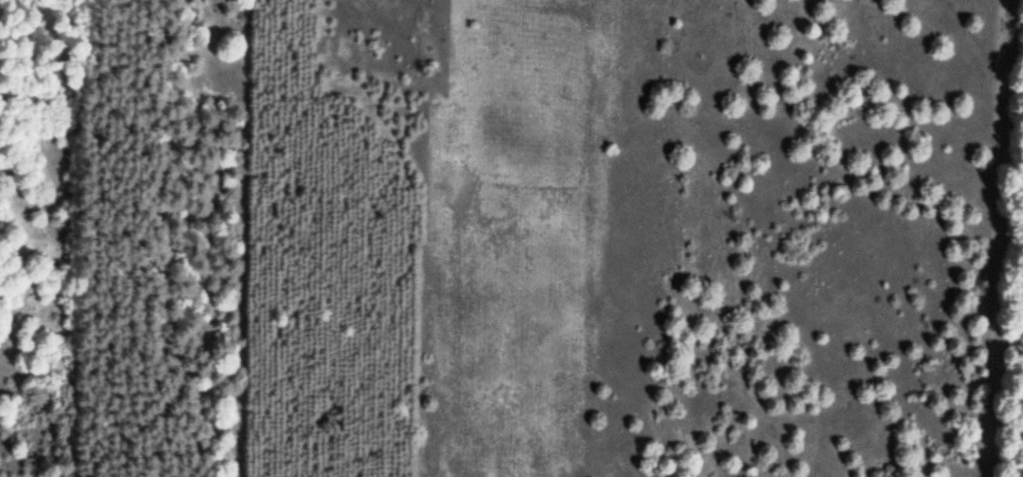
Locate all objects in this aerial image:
road: (1002, 238)

